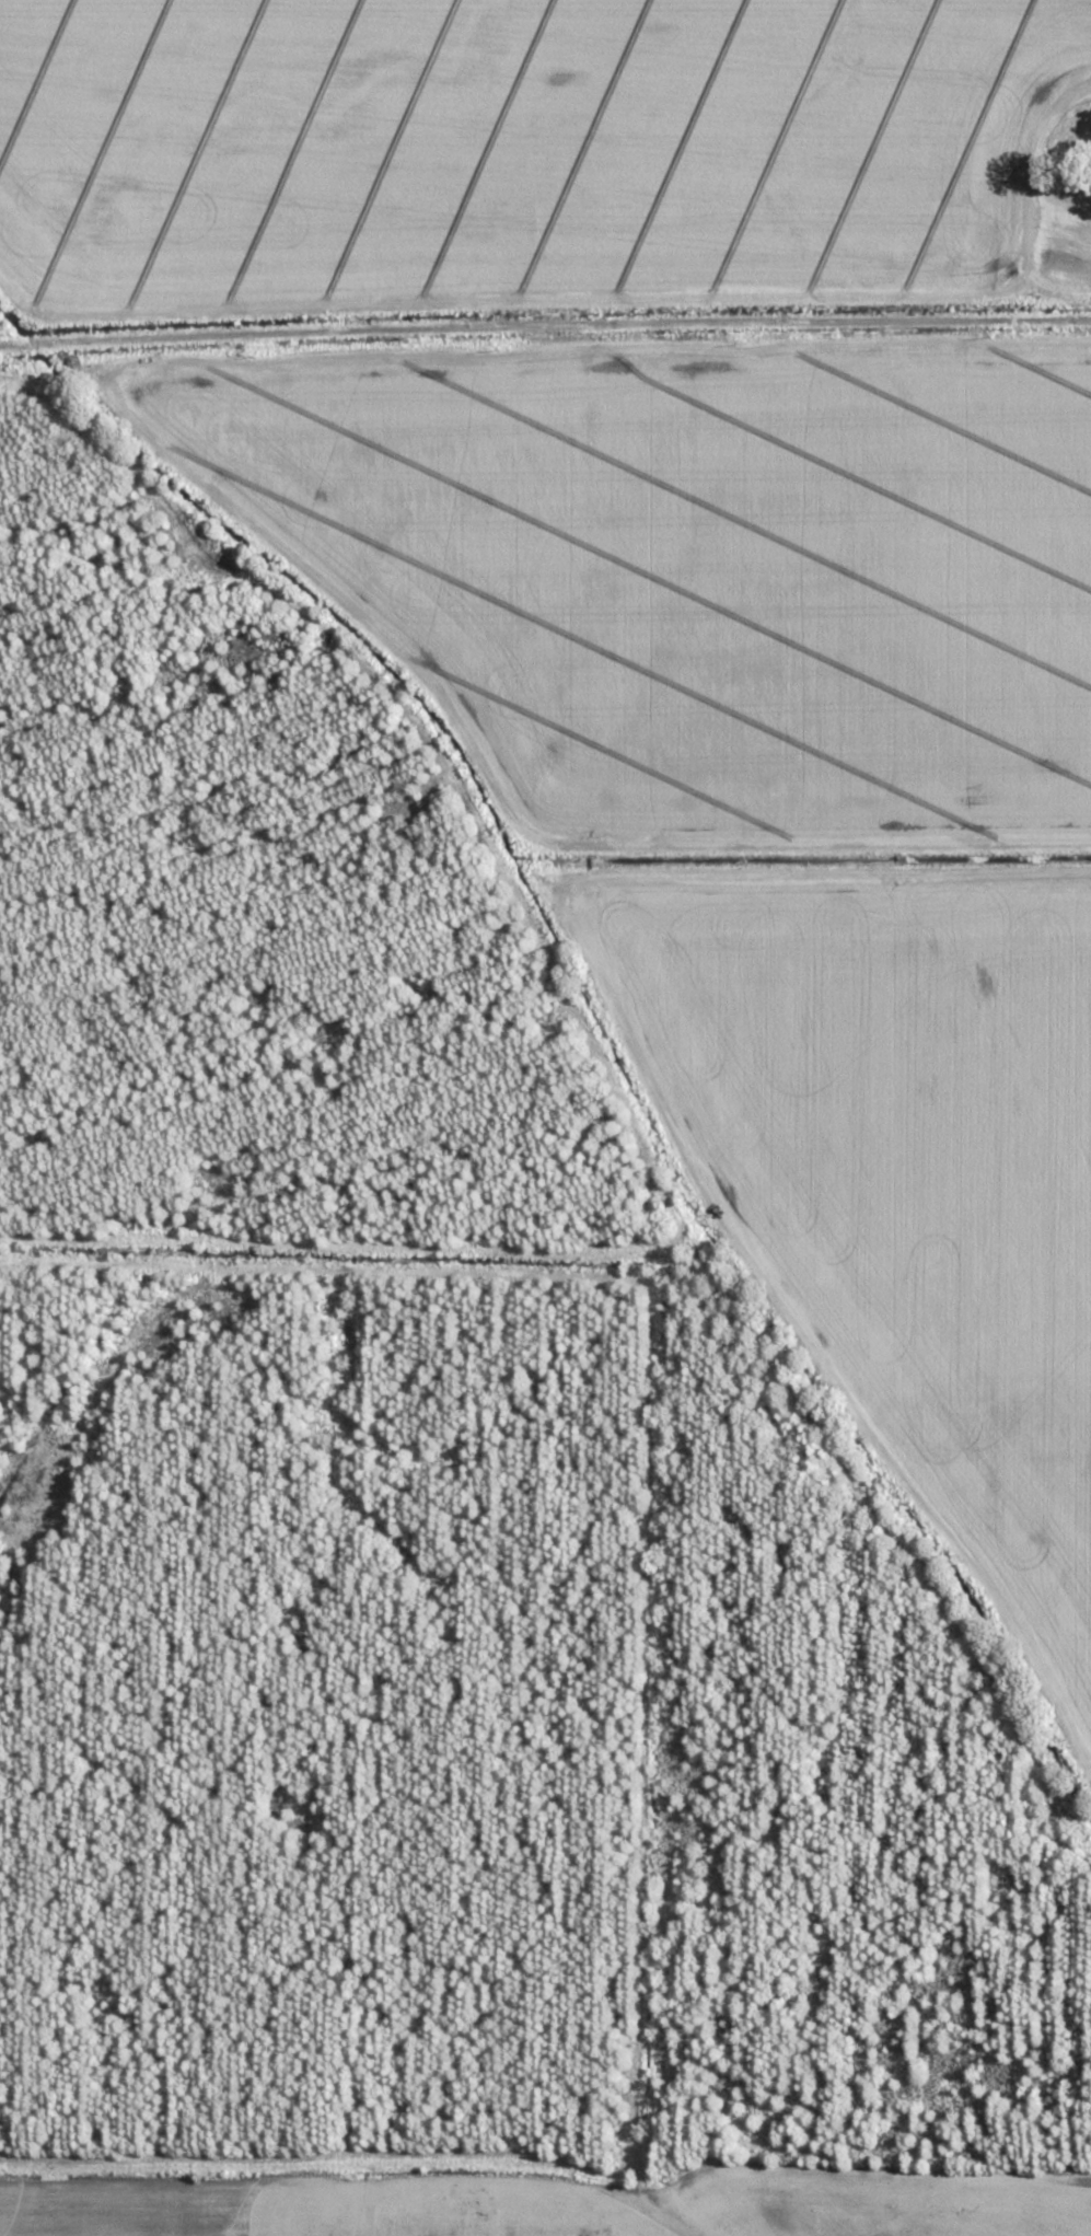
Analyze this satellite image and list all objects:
road: (545, 326)
road: (347, 2174)

